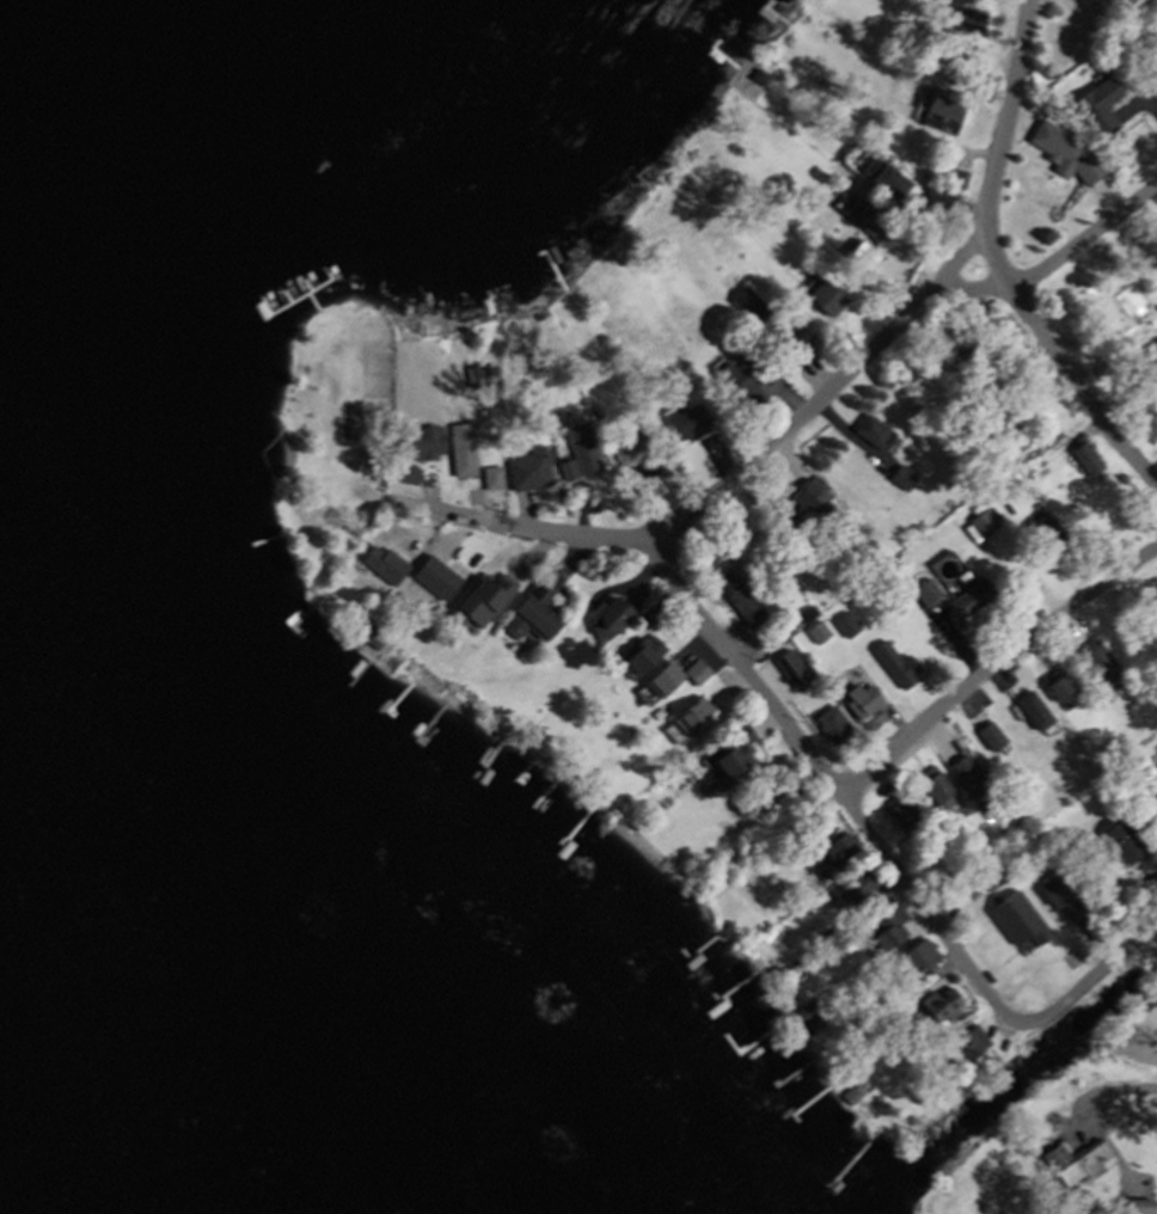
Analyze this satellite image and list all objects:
building: (1114, 2)
building: (971, 22)
building: (1067, 38)
building: (1155, 76)
building: (757, 78)
building: (1095, 106)
building: (941, 111)
building: (1053, 143)
building: (947, 177)
building: (887, 179)
building: (933, 196)
building: (869, 221)
building: (863, 256)
road: (1058, 260)
building: (820, 295)
building: (1128, 300)
building: (748, 303)
road: (919, 314)
building: (790, 337)
building: (1151, 348)
road: (1064, 355)
building: (966, 356)
building: (532, 360)
building: (490, 373)
building: (472, 376)
building: (742, 380)
building: (595, 412)
building: (687, 423)
building: (1010, 425)
building: (869, 430)
building: (421, 441)
building: (631, 444)
building: (581, 447)
building: (460, 448)
building: (1082, 456)
building: (528, 468)
building: (567, 468)
building: (1039, 470)
building: (406, 473)
building: (491, 477)
building: (900, 477)
building: (1031, 491)
building: (803, 504)
building: (980, 522)
building: (1047, 534)
building: (381, 563)
building: (433, 576)
building: (923, 591)
building: (733, 596)
building: (483, 597)
building: (966, 601)
building: (650, 613)
building: (804, 614)
building: (533, 617)
building: (606, 617)
building: (843, 624)
building: (350, 627)
building: (814, 632)
building: (373, 637)
building: (641, 654)
building: (1097, 658)
building: (893, 663)
building: (789, 667)
building: (694, 670)
road: (753, 675)
road: (996, 676)
building: (659, 679)
building: (1059, 688)
building: (858, 699)
building: (1033, 711)
building: (657, 712)
building: (684, 719)
building: (830, 724)
building: (988, 736)
building: (730, 749)
building: (673, 778)
building: (1114, 778)
building: (969, 781)
building: (933, 786)
building: (1023, 798)
building: (900, 813)
building: (1152, 813)
building: (809, 832)
building: (1122, 840)
building: (1067, 841)
building: (984, 847)
building: (837, 853)
building: (991, 875)
building: (853, 884)
building: (1058, 895)
building: (883, 914)
building: (1015, 919)
building: (913, 957)
road: (1086, 982)
building: (941, 1004)
building: (809, 1023)
building: (963, 1044)
road: (1139, 1085)
building: (849, 1093)
building: (879, 1104)
building: (1075, 1159)
building: (1137, 1206)

